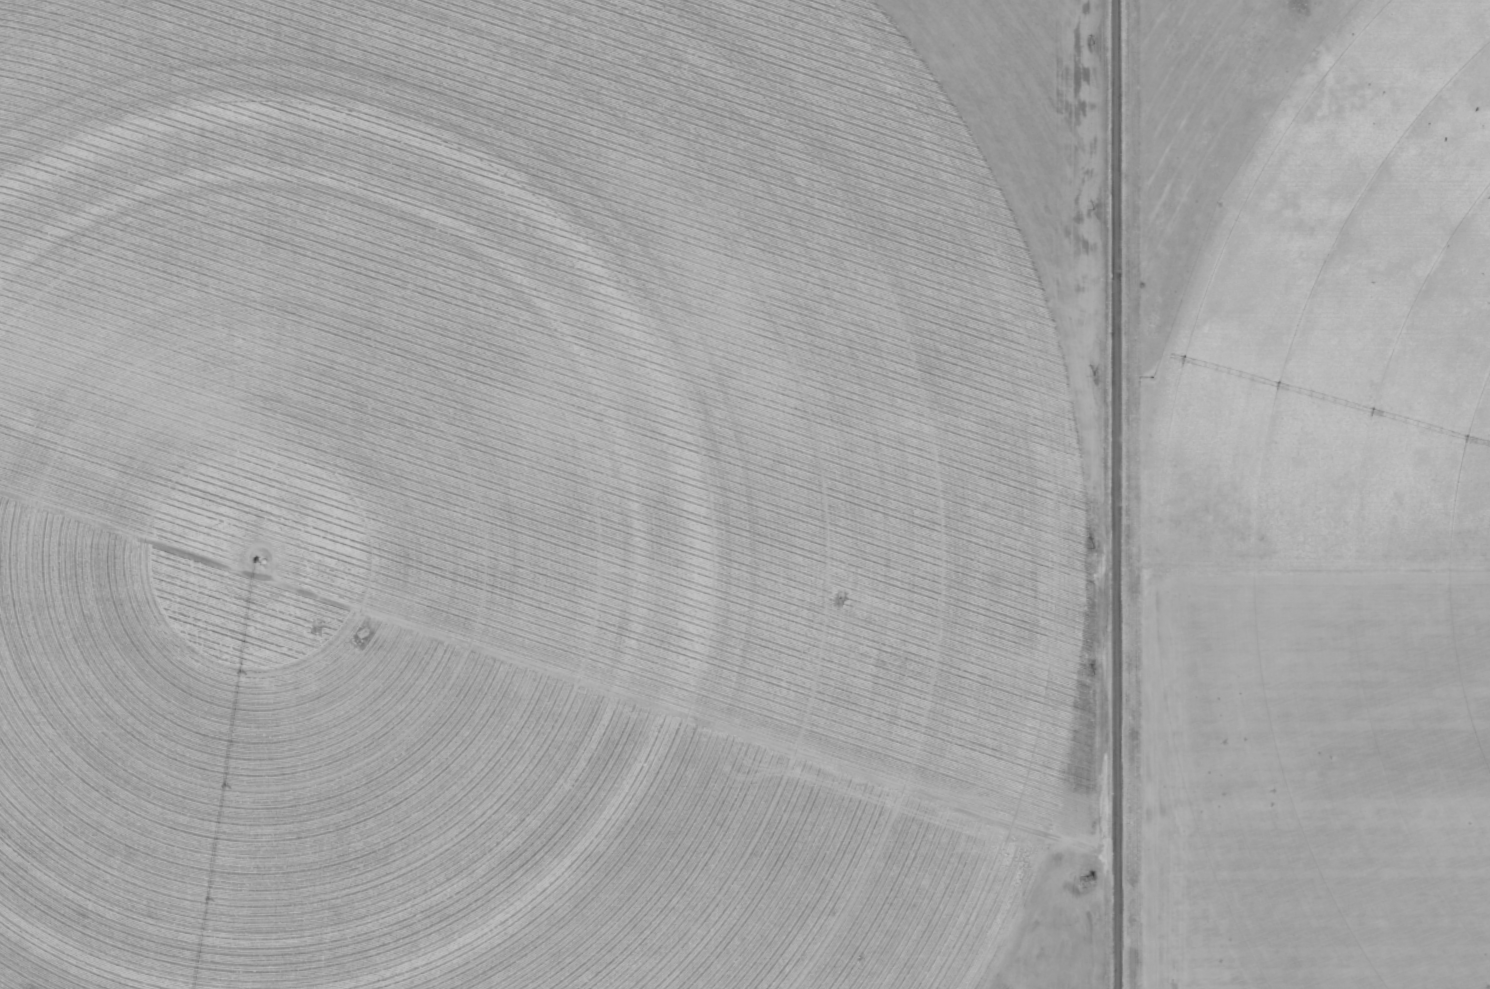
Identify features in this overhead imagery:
road: (1111, 494)

